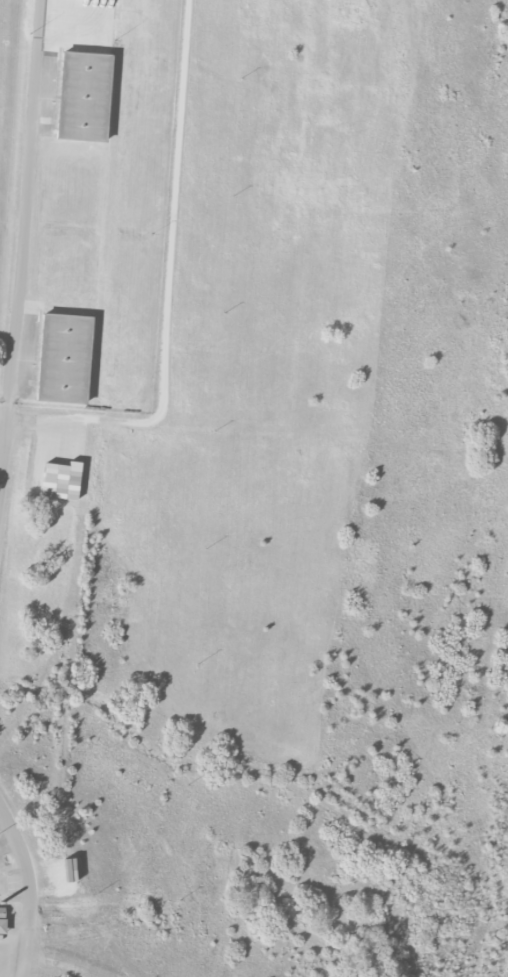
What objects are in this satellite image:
building: (82, 95)
road: (27, 228)
road: (169, 286)
building: (62, 358)
building: (38, 469)
building: (67, 480)
road: (30, 889)
building: (2, 919)

